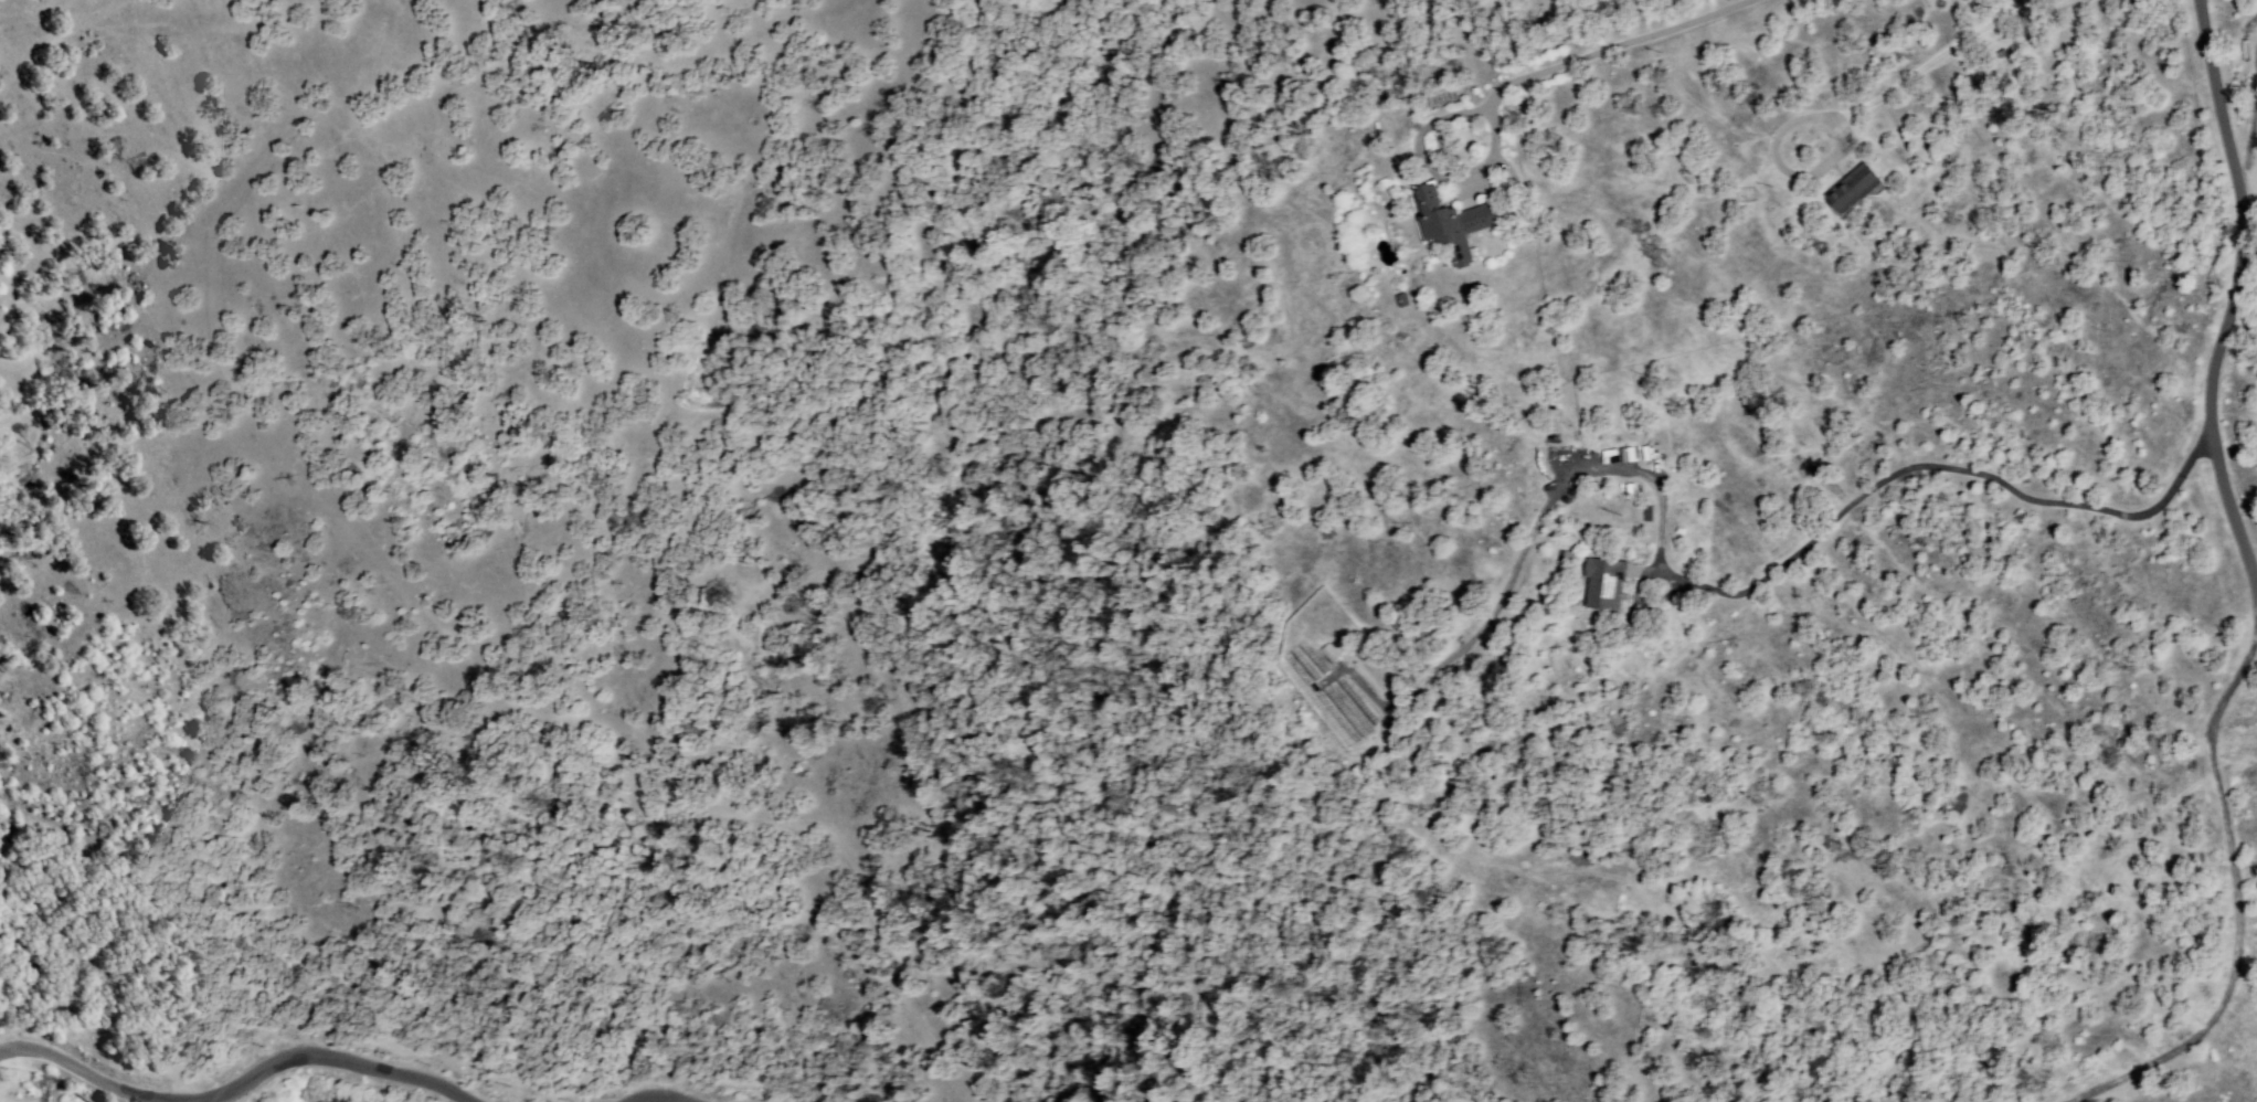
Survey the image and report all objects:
road: (1581, 53)
building: (1853, 190)
building: (1451, 229)
road: (2234, 296)
road: (1769, 575)
building: (1604, 583)
road: (2236, 898)
road: (237, 1088)
road: (655, 1096)

